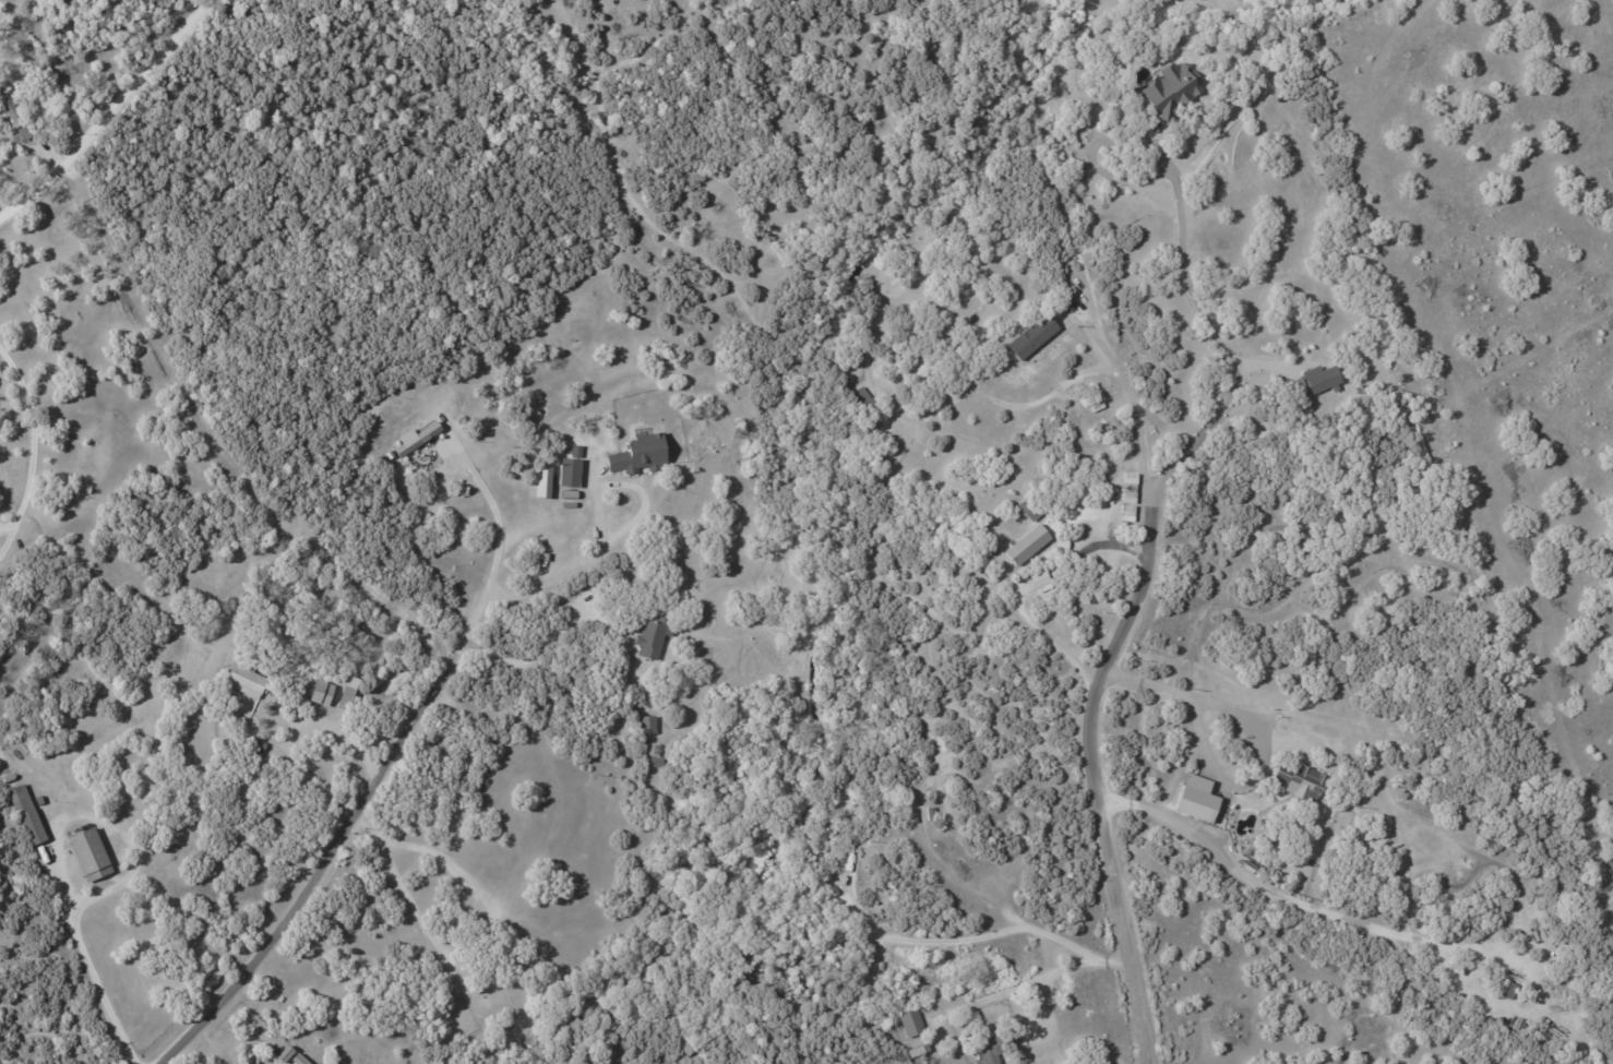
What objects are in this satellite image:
building: (1168, 88)
building: (9, 106)
road: (109, 113)
road: (1210, 332)
building: (1030, 336)
building: (1310, 383)
building: (862, 397)
road: (1131, 403)
road: (33, 434)
building: (414, 438)
road: (217, 440)
building: (637, 454)
building: (567, 471)
building: (541, 480)
road: (491, 512)
road: (7, 525)
road: (8, 538)
building: (1025, 543)
road: (577, 564)
road: (1025, 586)
road: (535, 648)
building: (242, 679)
building: (302, 689)
building: (320, 692)
building: (343, 697)
building: (645, 724)
road: (325, 727)
road: (1197, 742)
building: (254, 746)
road: (1262, 753)
road: (1091, 770)
building: (1298, 780)
building: (1194, 798)
building: (25, 813)
road: (328, 841)
building: (87, 853)
road: (401, 884)
road: (1335, 916)
road: (83, 959)
road: (1030, 980)
building: (1504, 988)
building: (909, 1021)
building: (916, 1053)

